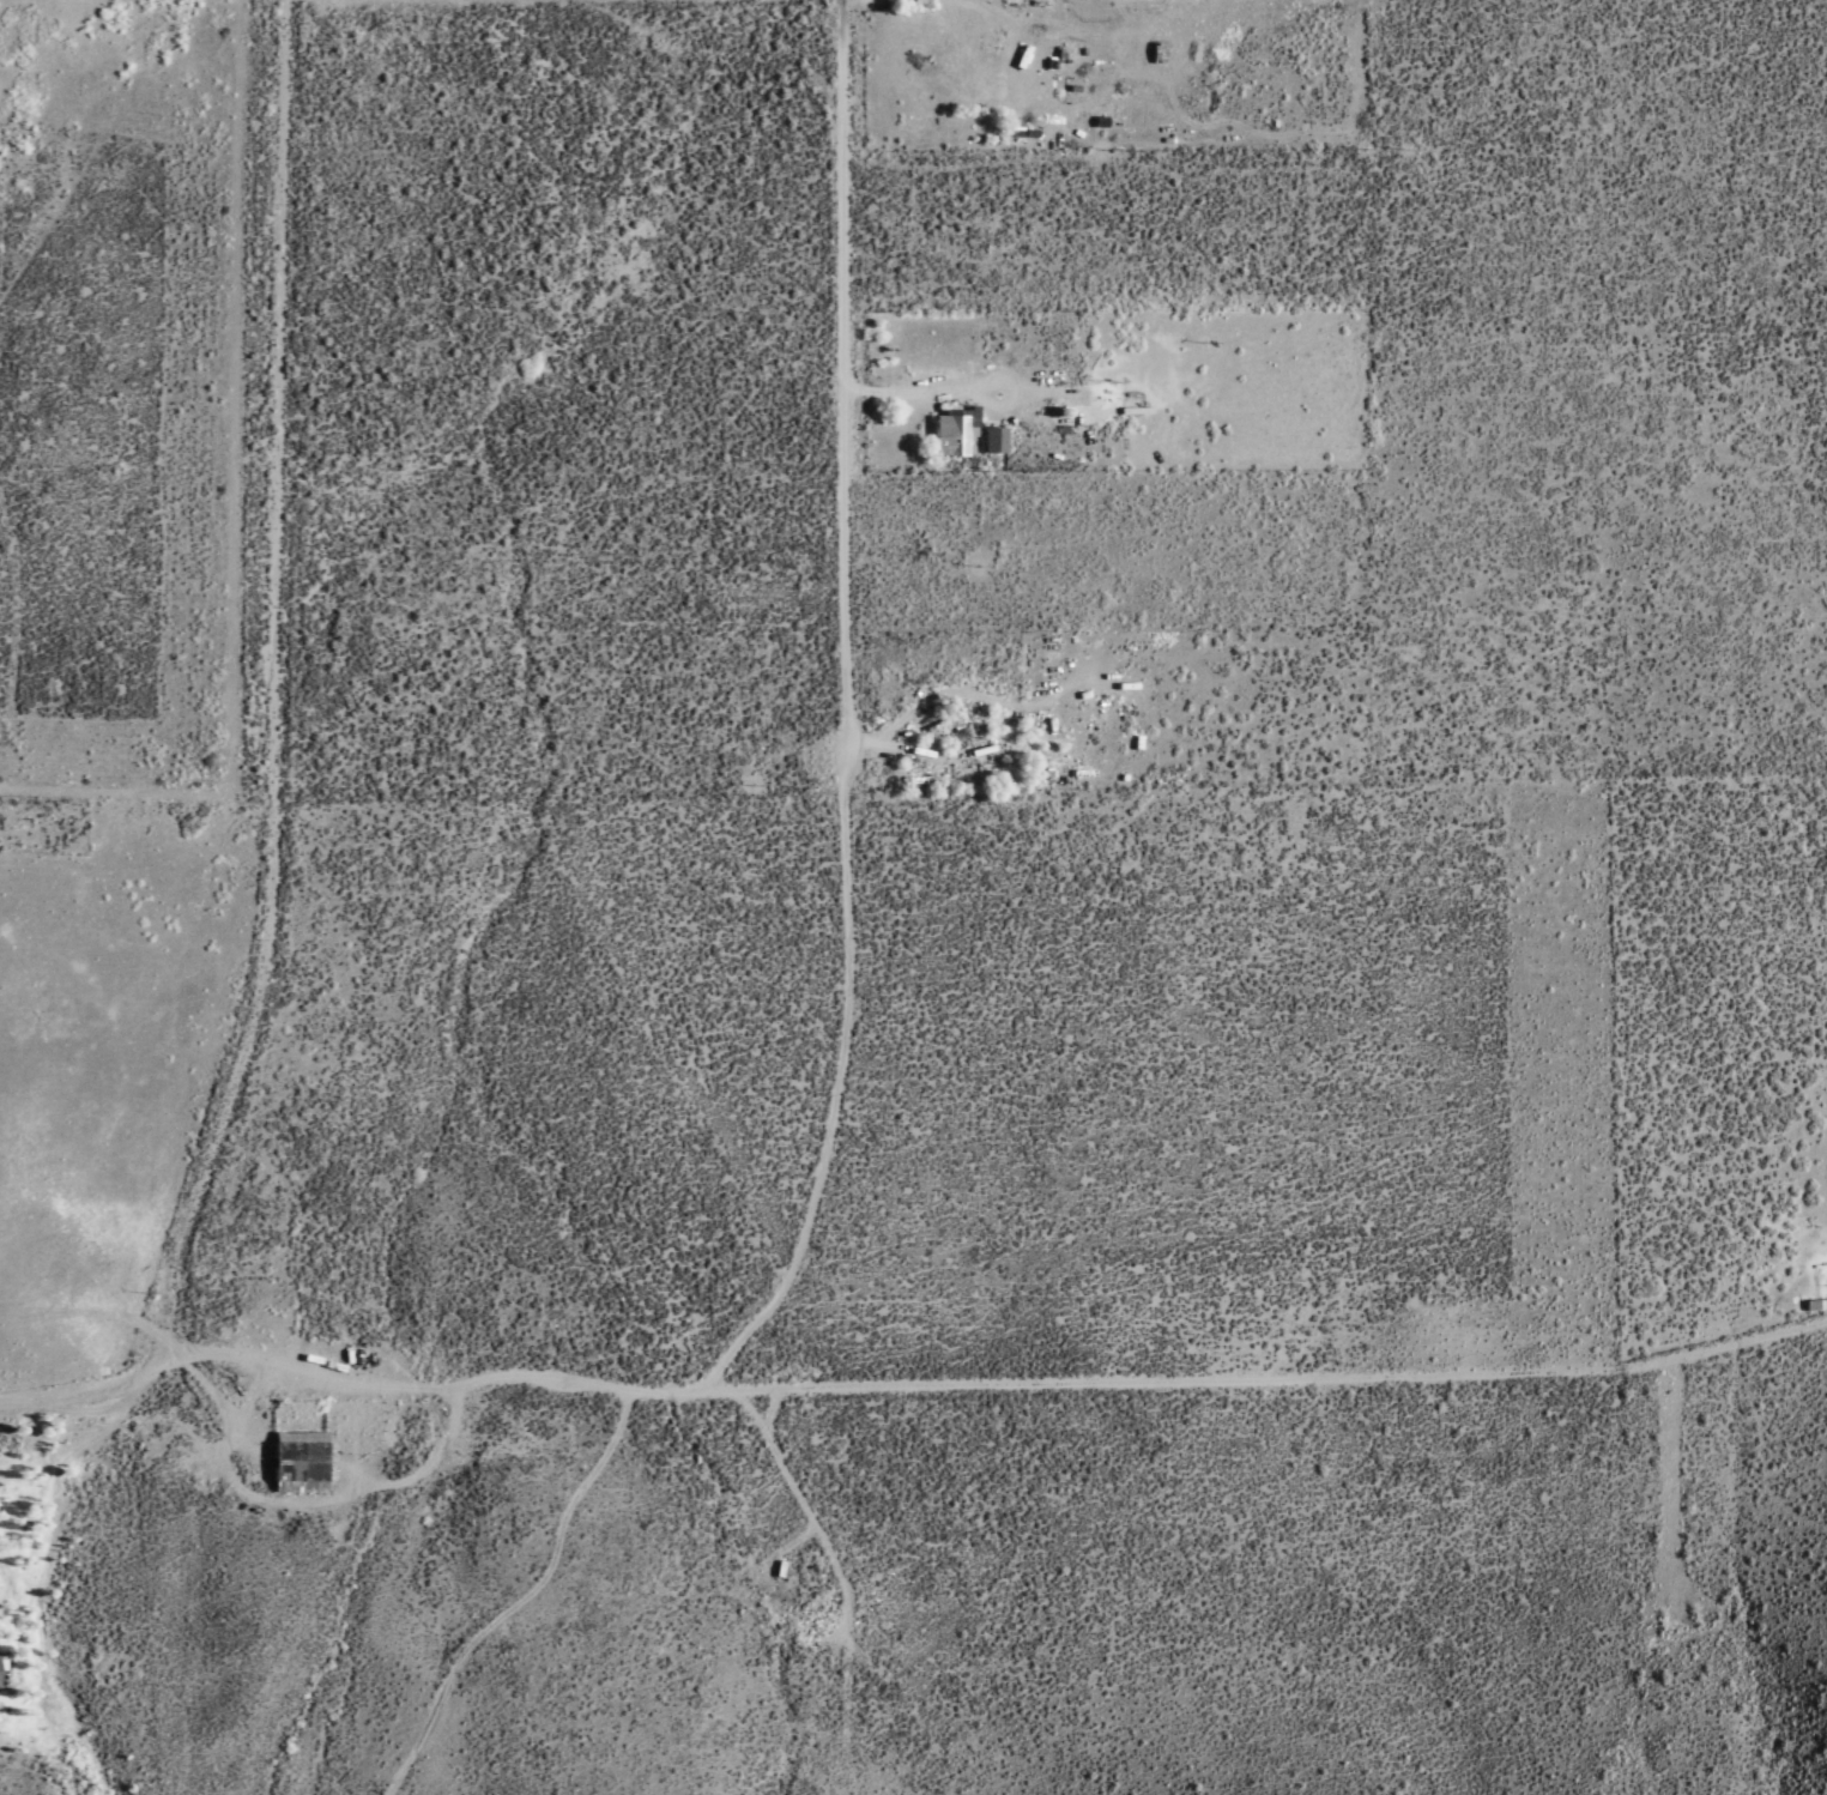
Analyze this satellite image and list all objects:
road: (841, 379)
building: (950, 430)
building: (991, 439)
road: (273, 747)
road: (991, 1382)

